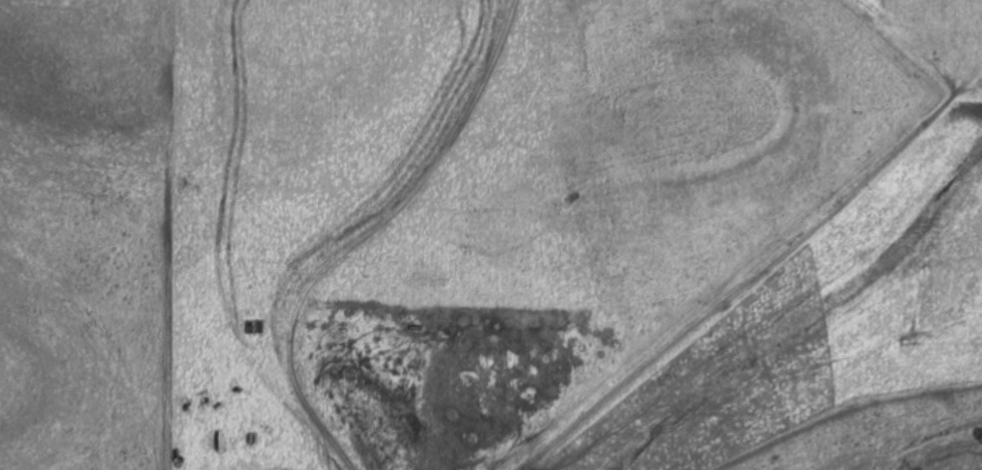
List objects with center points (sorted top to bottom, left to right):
river: (835, 320)

